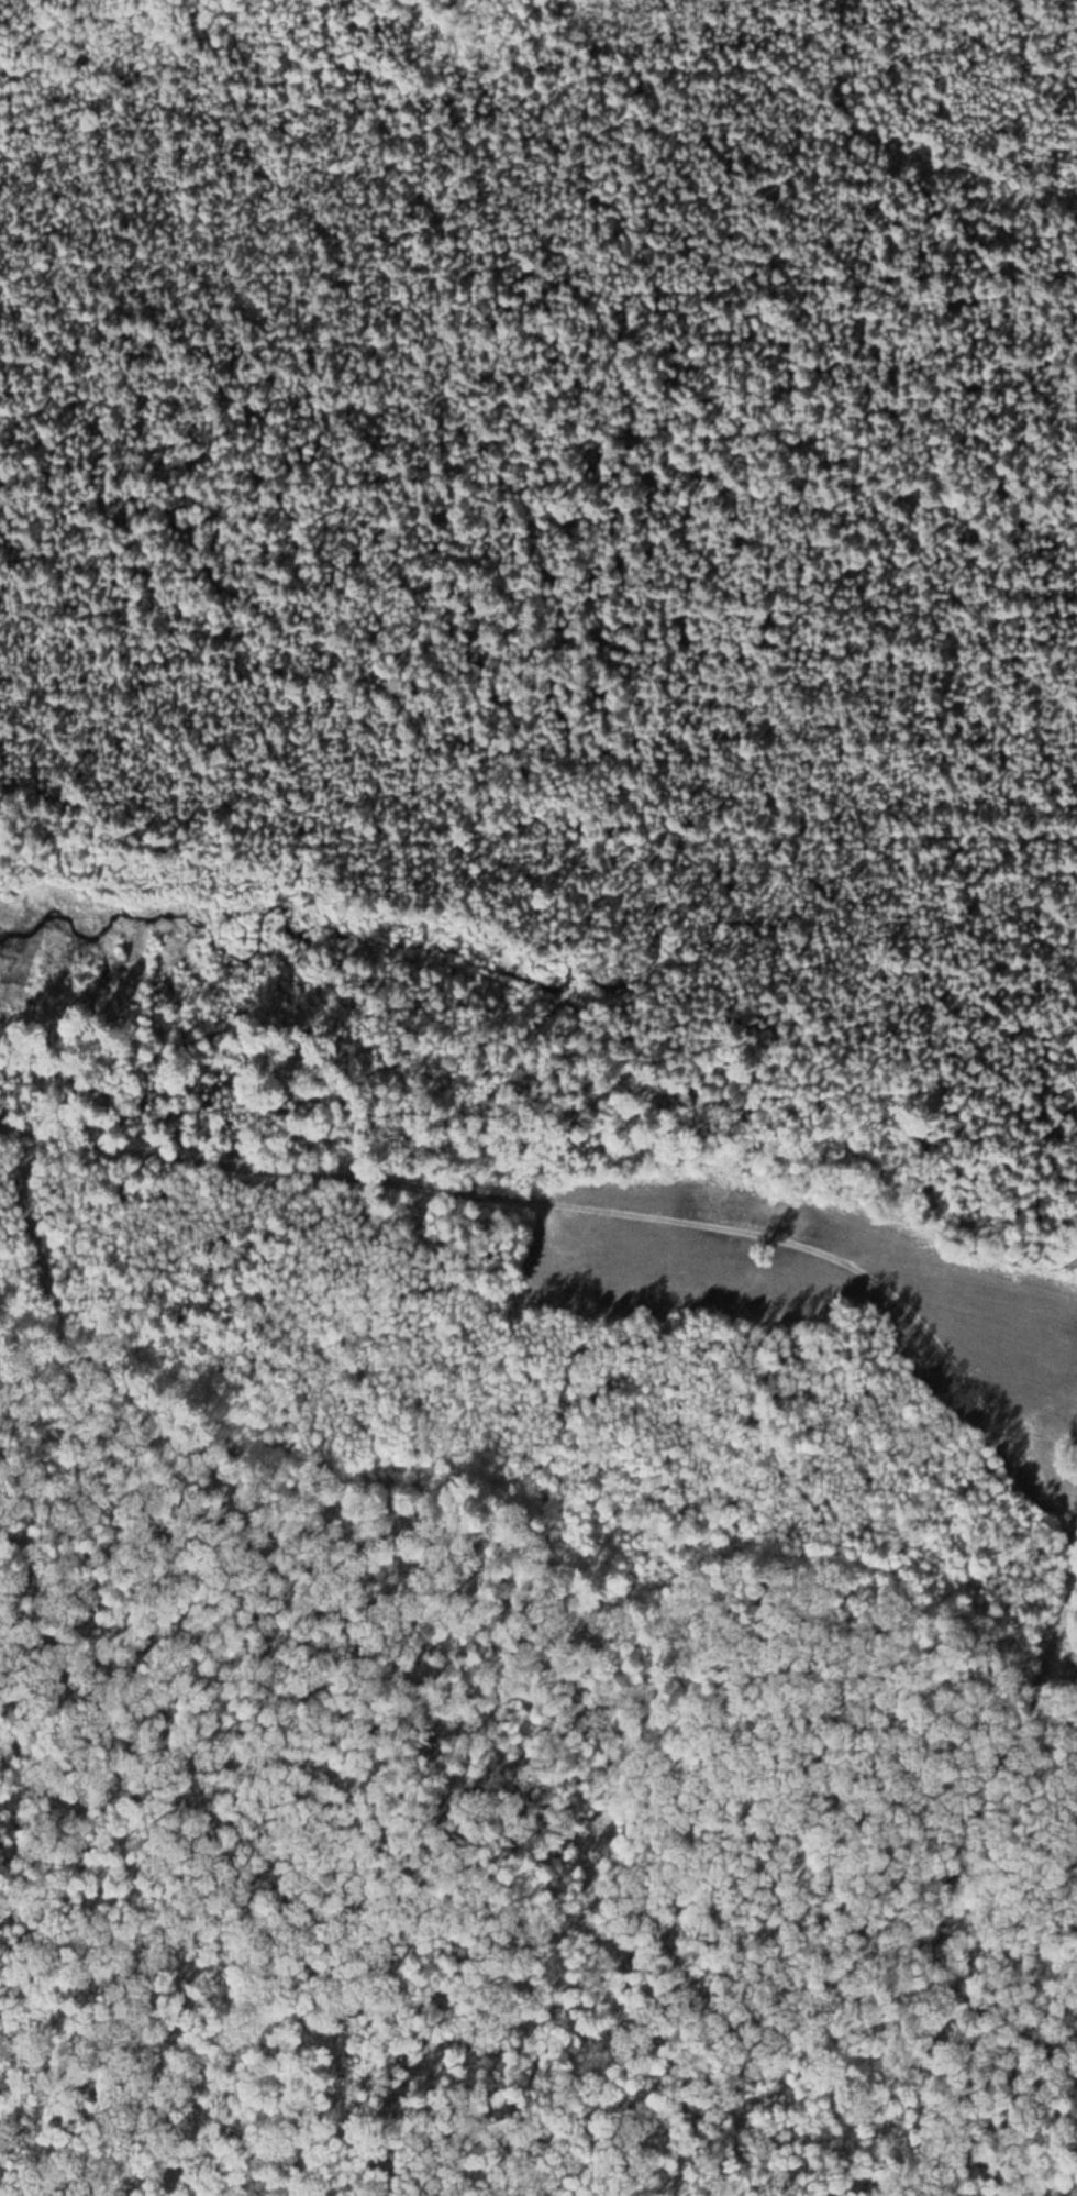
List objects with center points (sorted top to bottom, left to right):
road: (271, 1176)
road: (1067, 1546)

